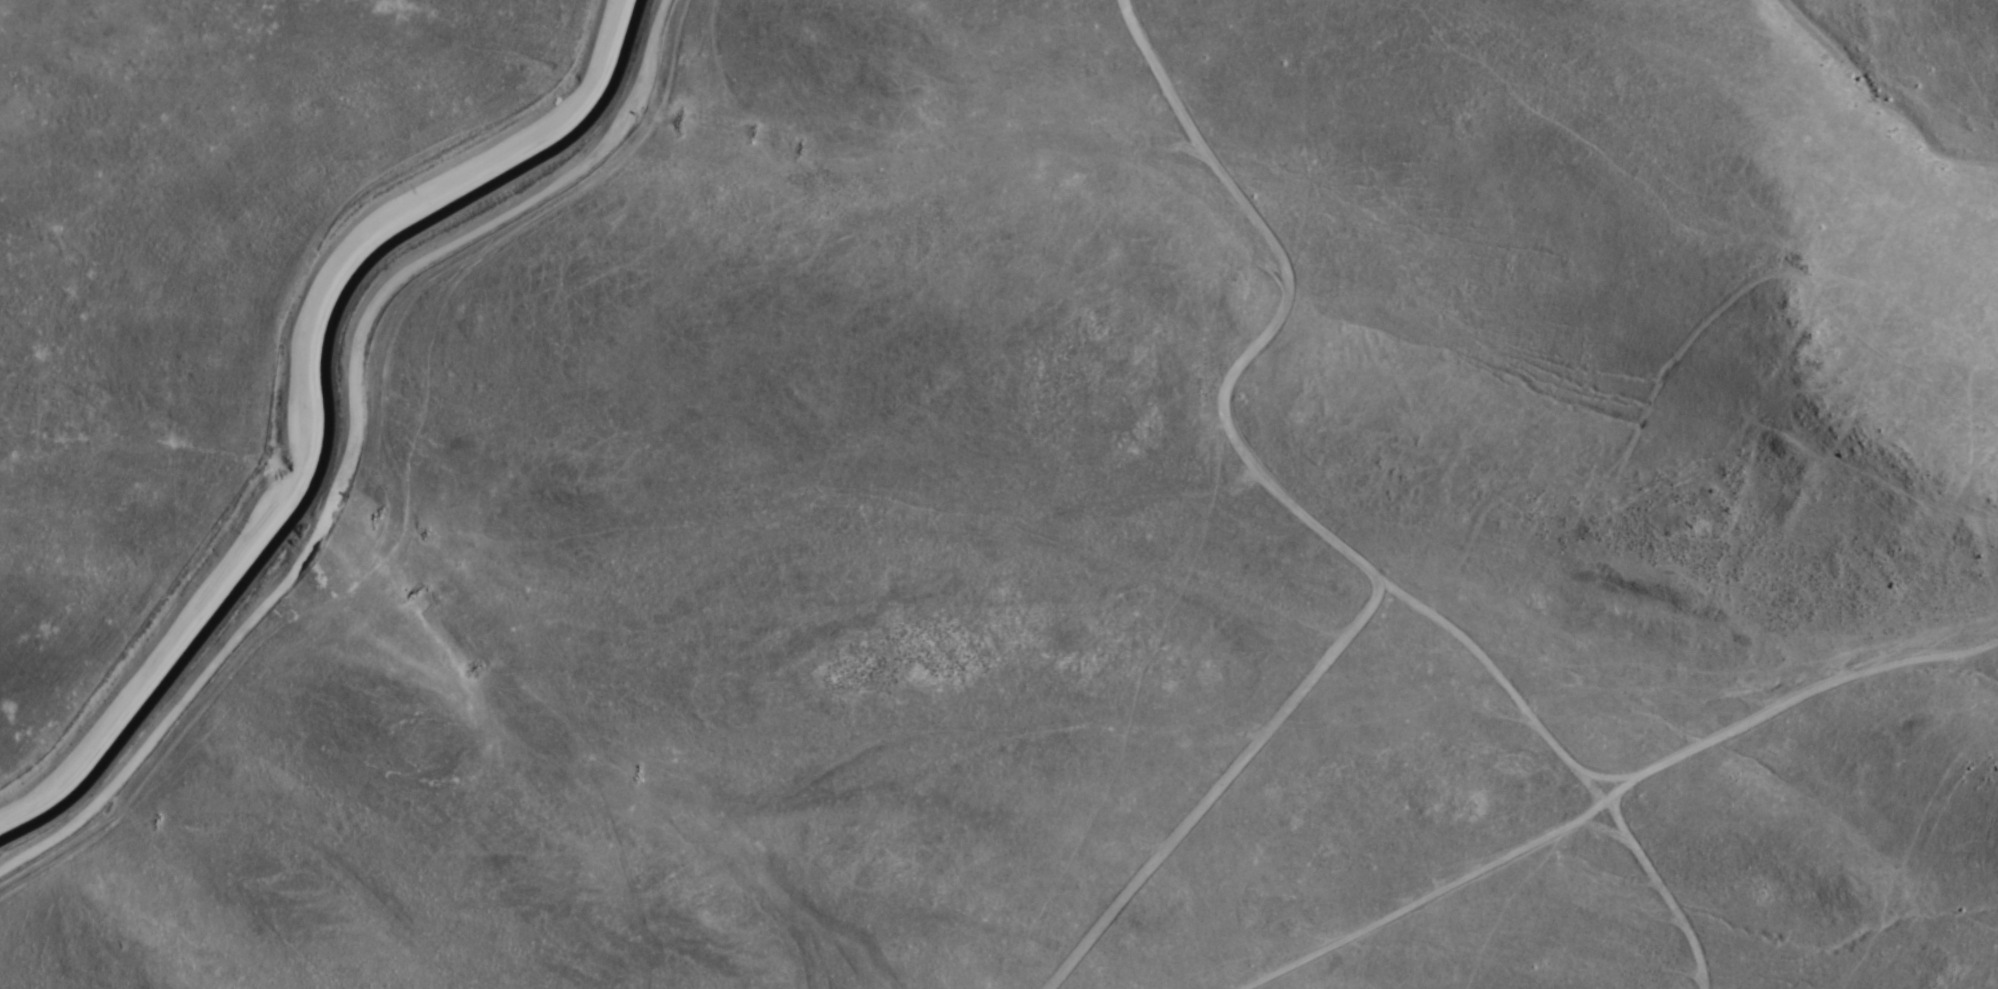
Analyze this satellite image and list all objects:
road: (496, 40)
road: (1229, 418)
road: (1573, 738)

